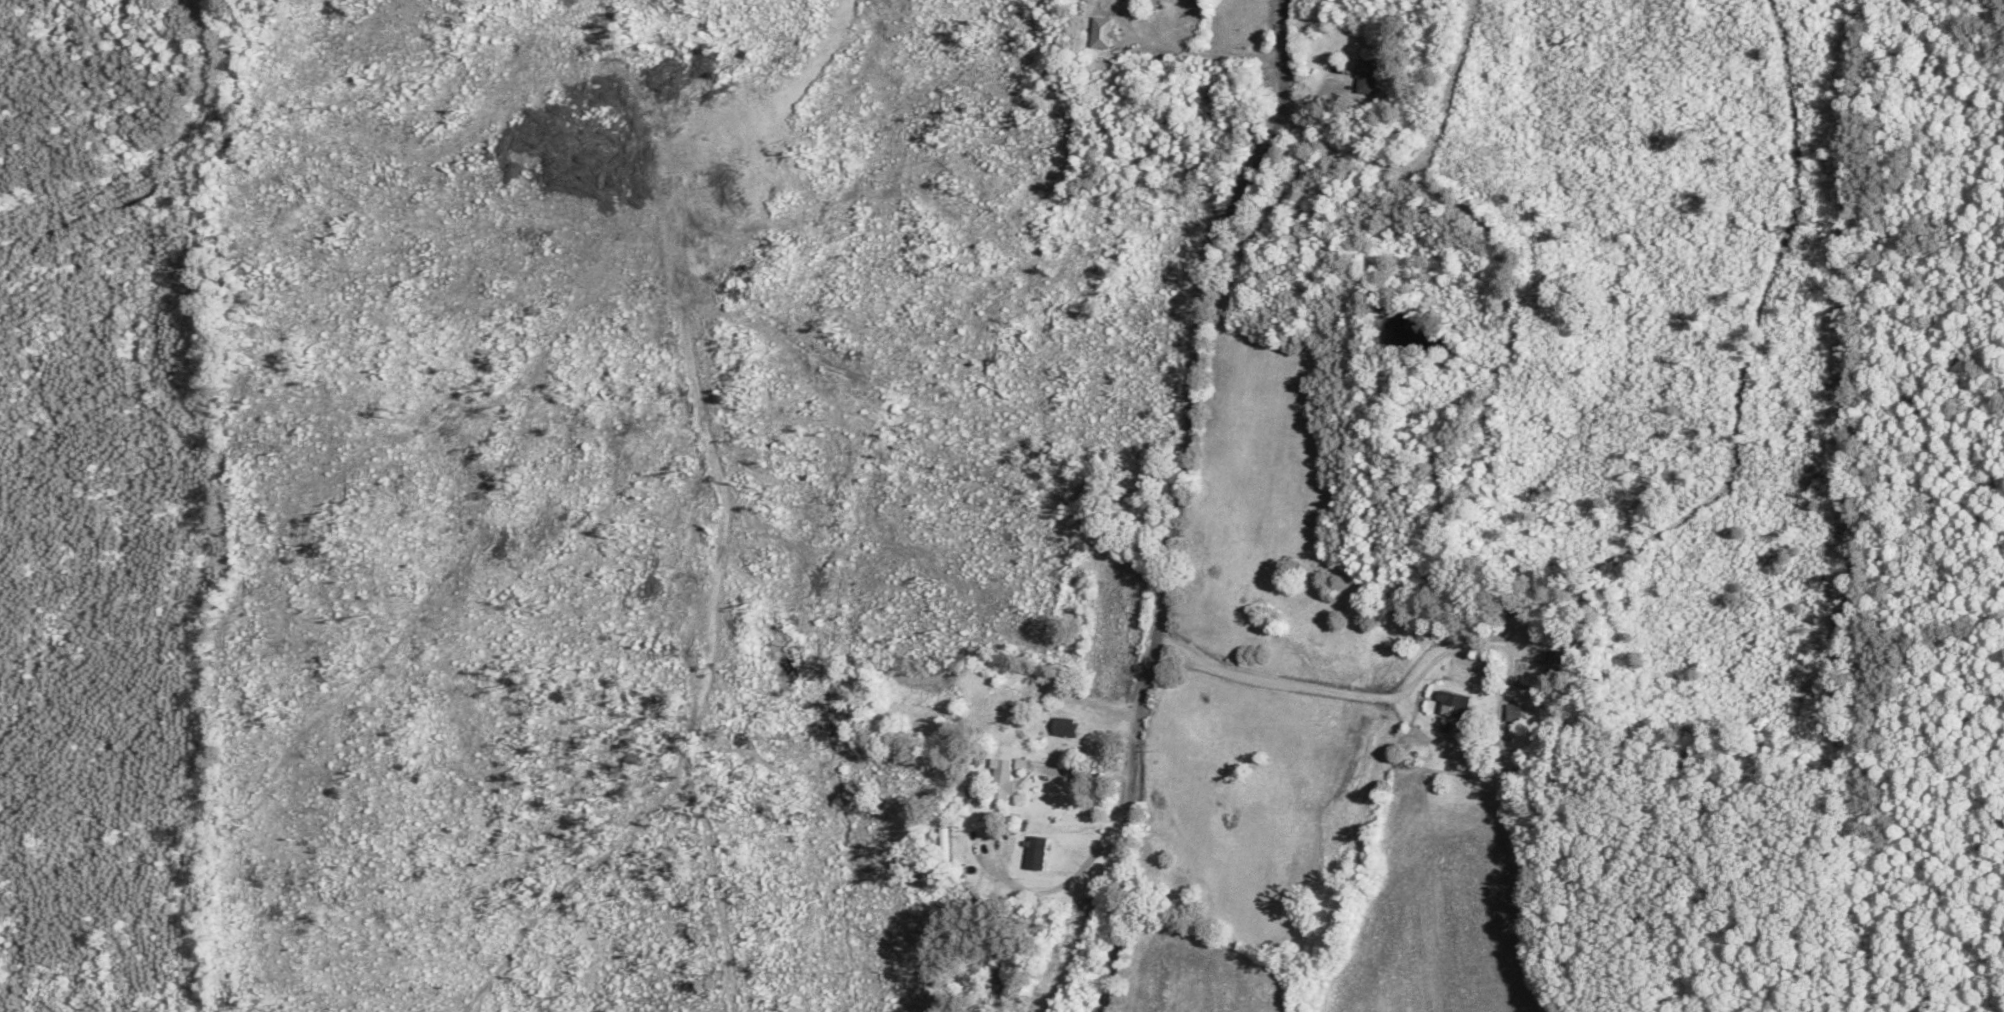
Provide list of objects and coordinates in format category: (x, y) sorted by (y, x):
building: (1098, 34)
building: (1365, 78)
road: (1172, 499)
road: (568, 543)
building: (1549, 666)
building: (997, 705)
building: (1450, 706)
building: (1061, 728)
building: (999, 785)
building: (1034, 854)

